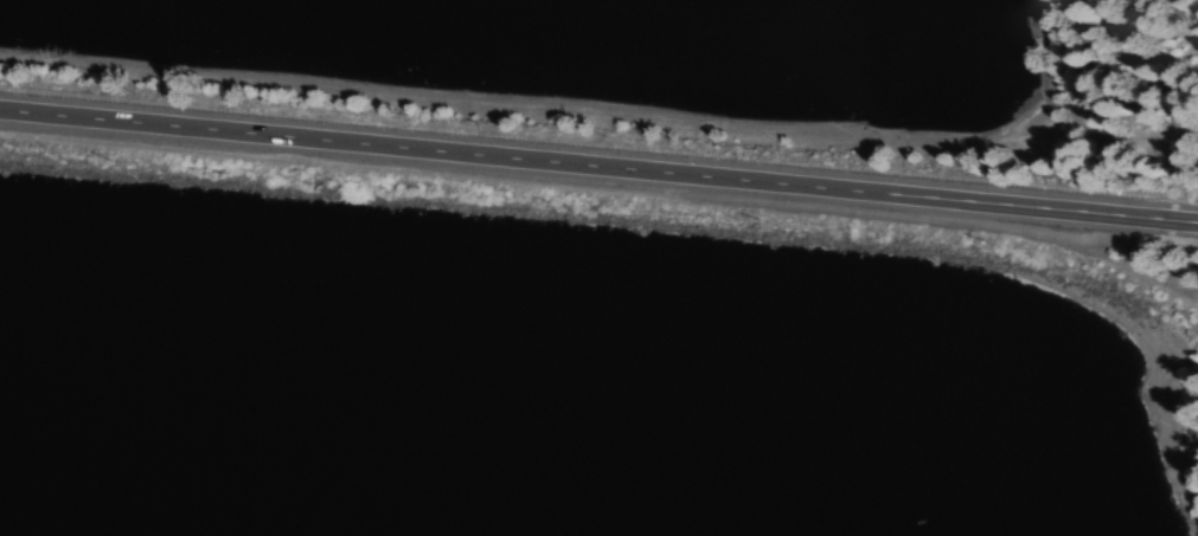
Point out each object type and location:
road: (550, 167)
railway: (521, 183)
road: (1149, 218)
railway: (1121, 267)

